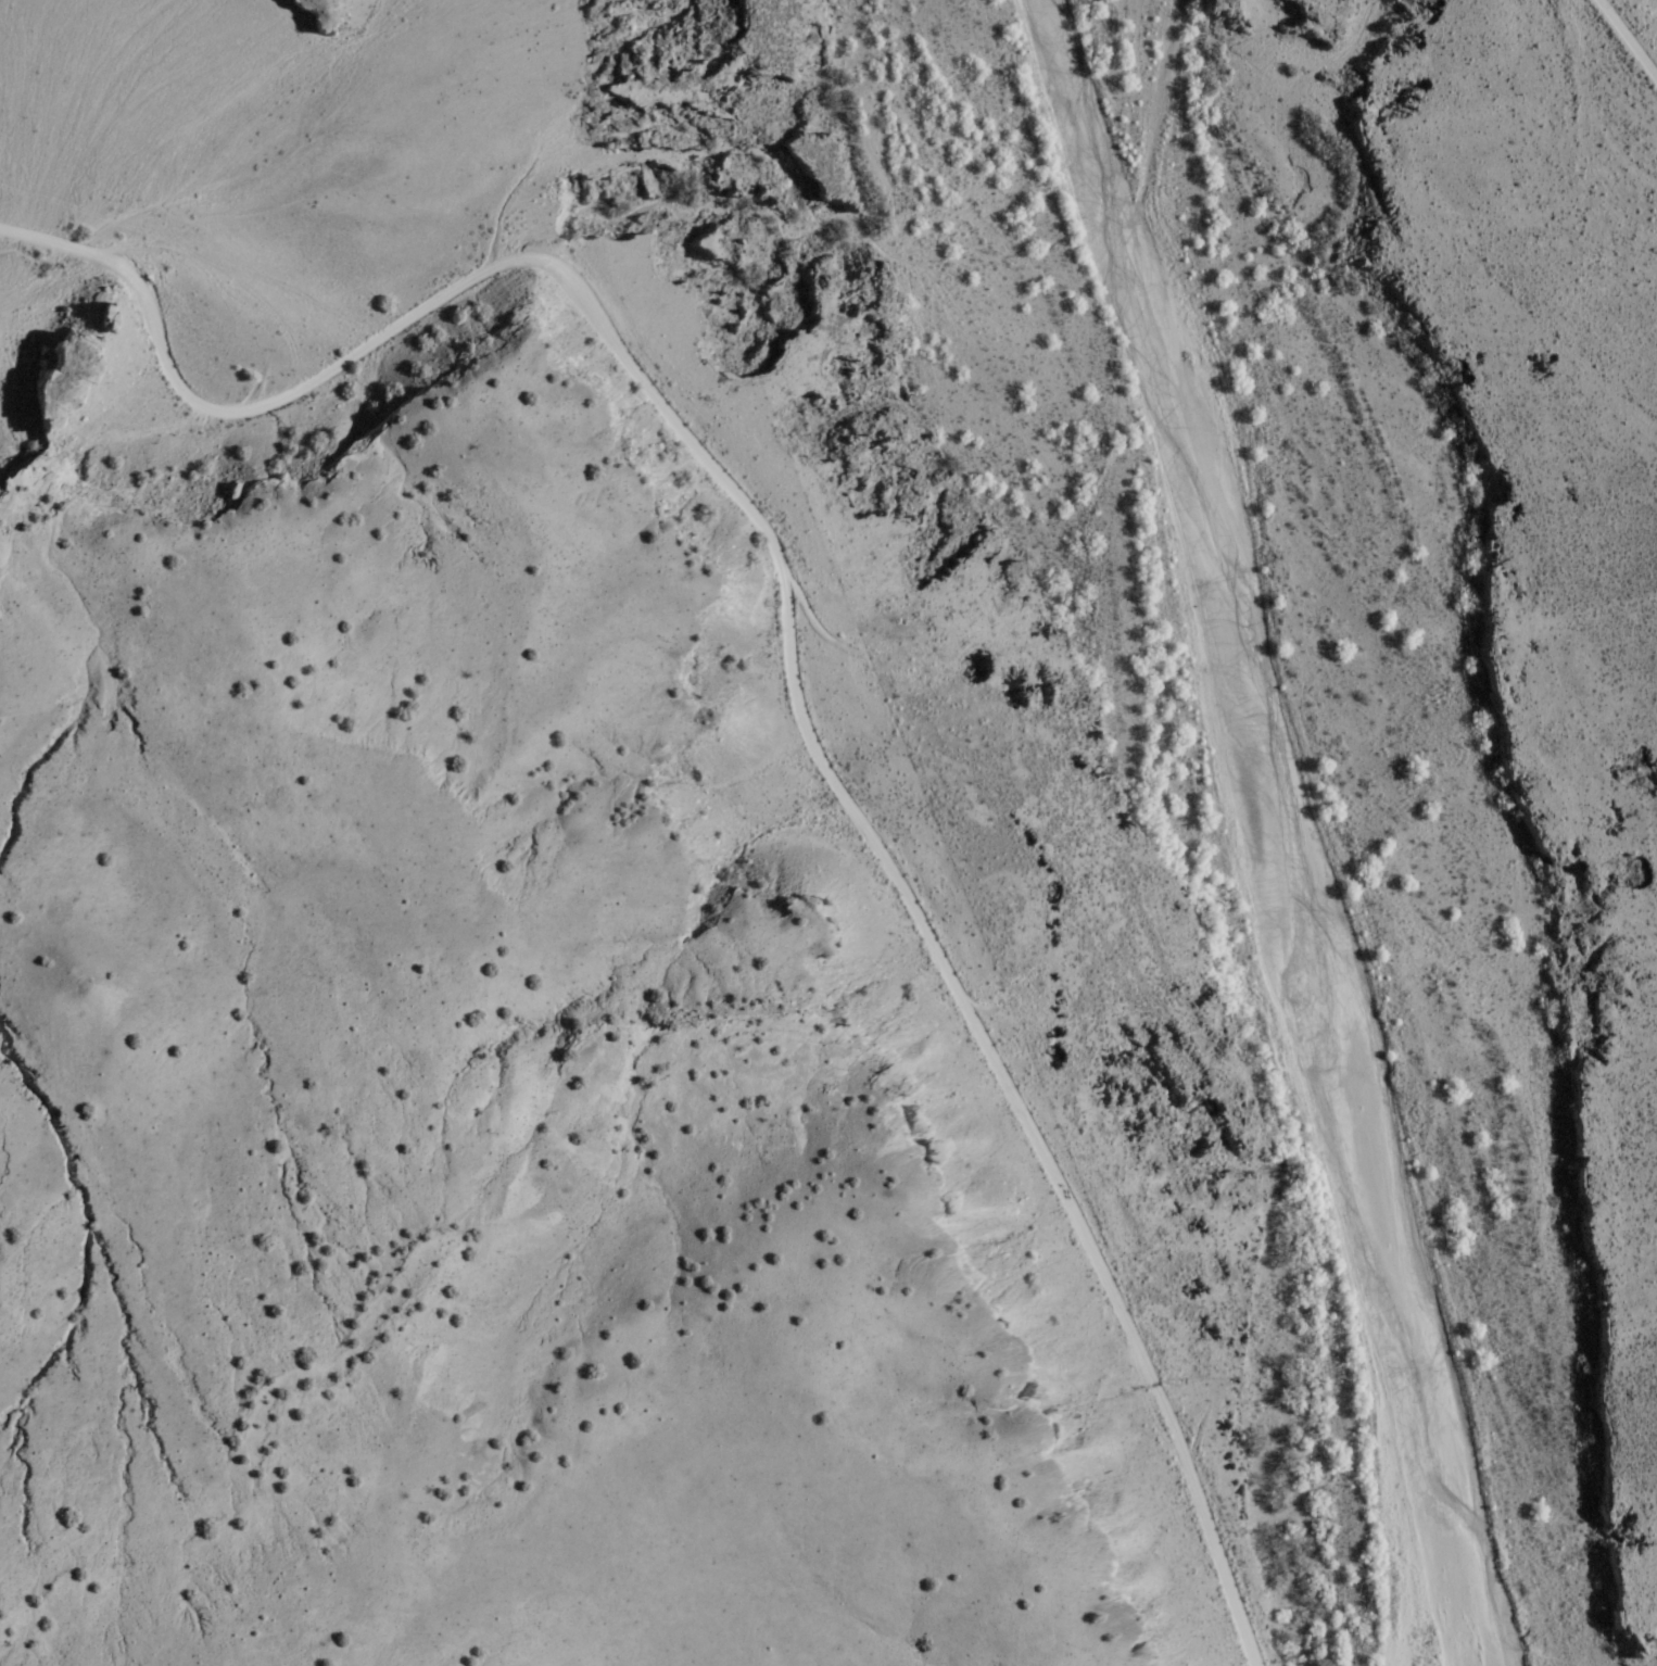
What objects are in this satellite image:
road: (1630, 35)
road: (787, 634)
river: (1282, 820)

